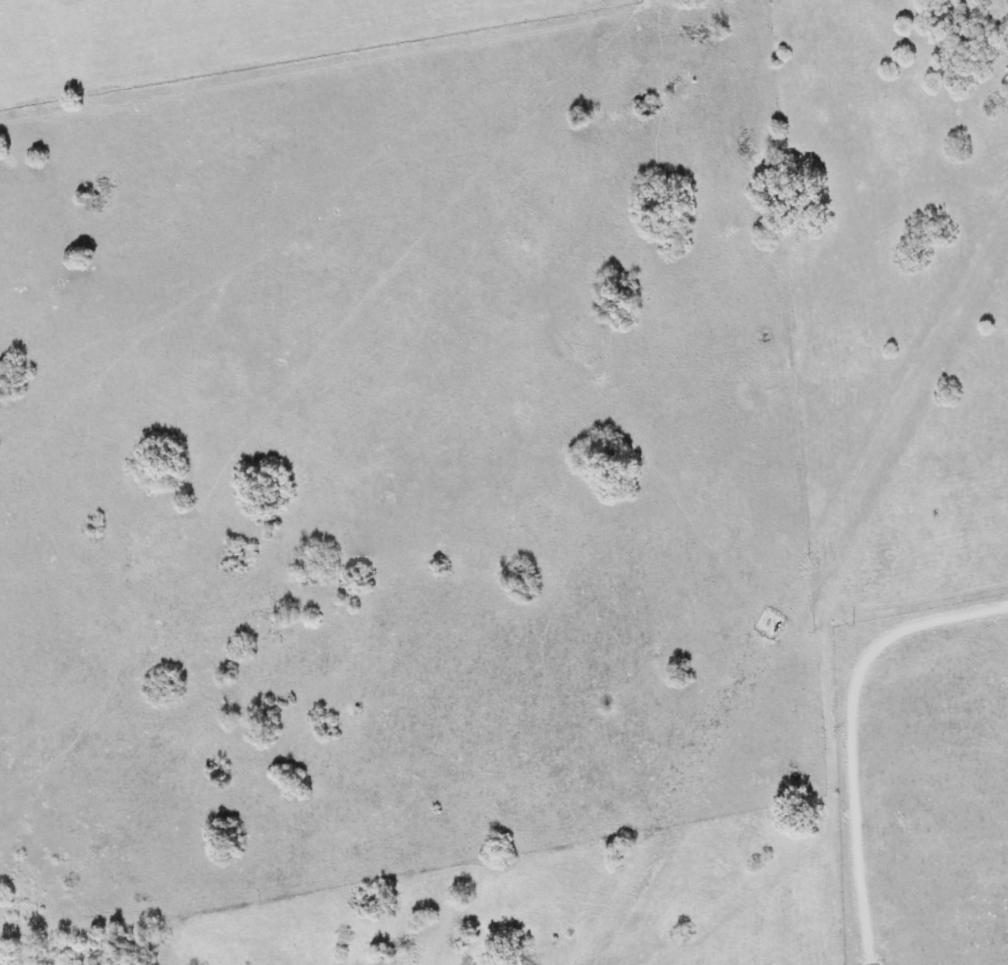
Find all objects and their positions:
road: (866, 737)

